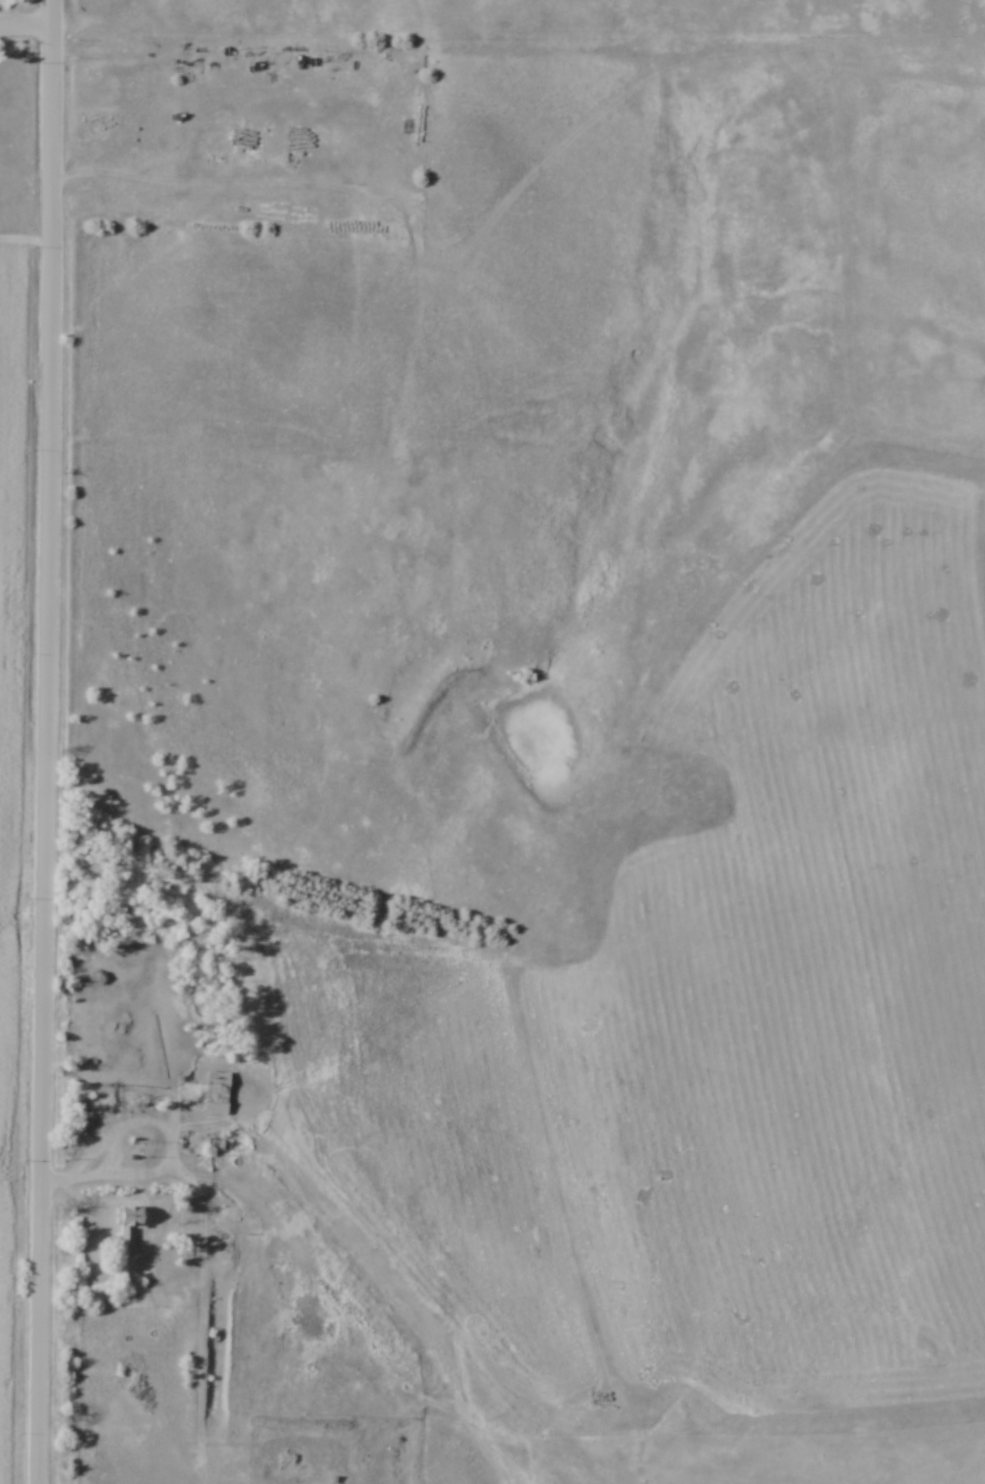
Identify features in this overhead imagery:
road: (26, 25)
road: (27, 239)
road: (47, 742)
building: (218, 1095)
building: (84, 1116)
road: (169, 1152)
road: (58, 1181)
building: (130, 1227)

